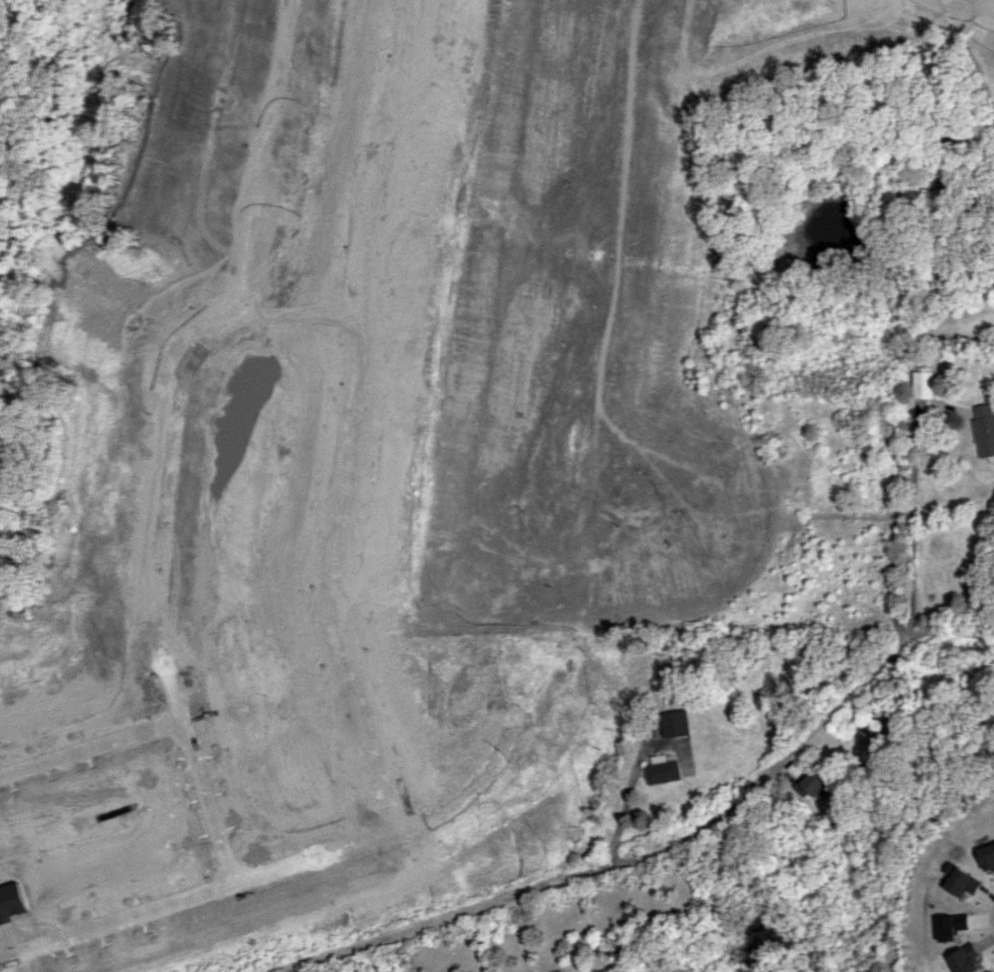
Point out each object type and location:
building: (923, 384)
road: (595, 415)
building: (984, 429)
road: (339, 493)
road: (913, 513)
road: (640, 516)
building: (677, 723)
road: (88, 747)
road: (195, 769)
building: (664, 769)
building: (812, 784)
road: (631, 793)
road: (664, 849)
building: (987, 857)
building: (961, 882)
road: (234, 885)
building: (950, 926)

